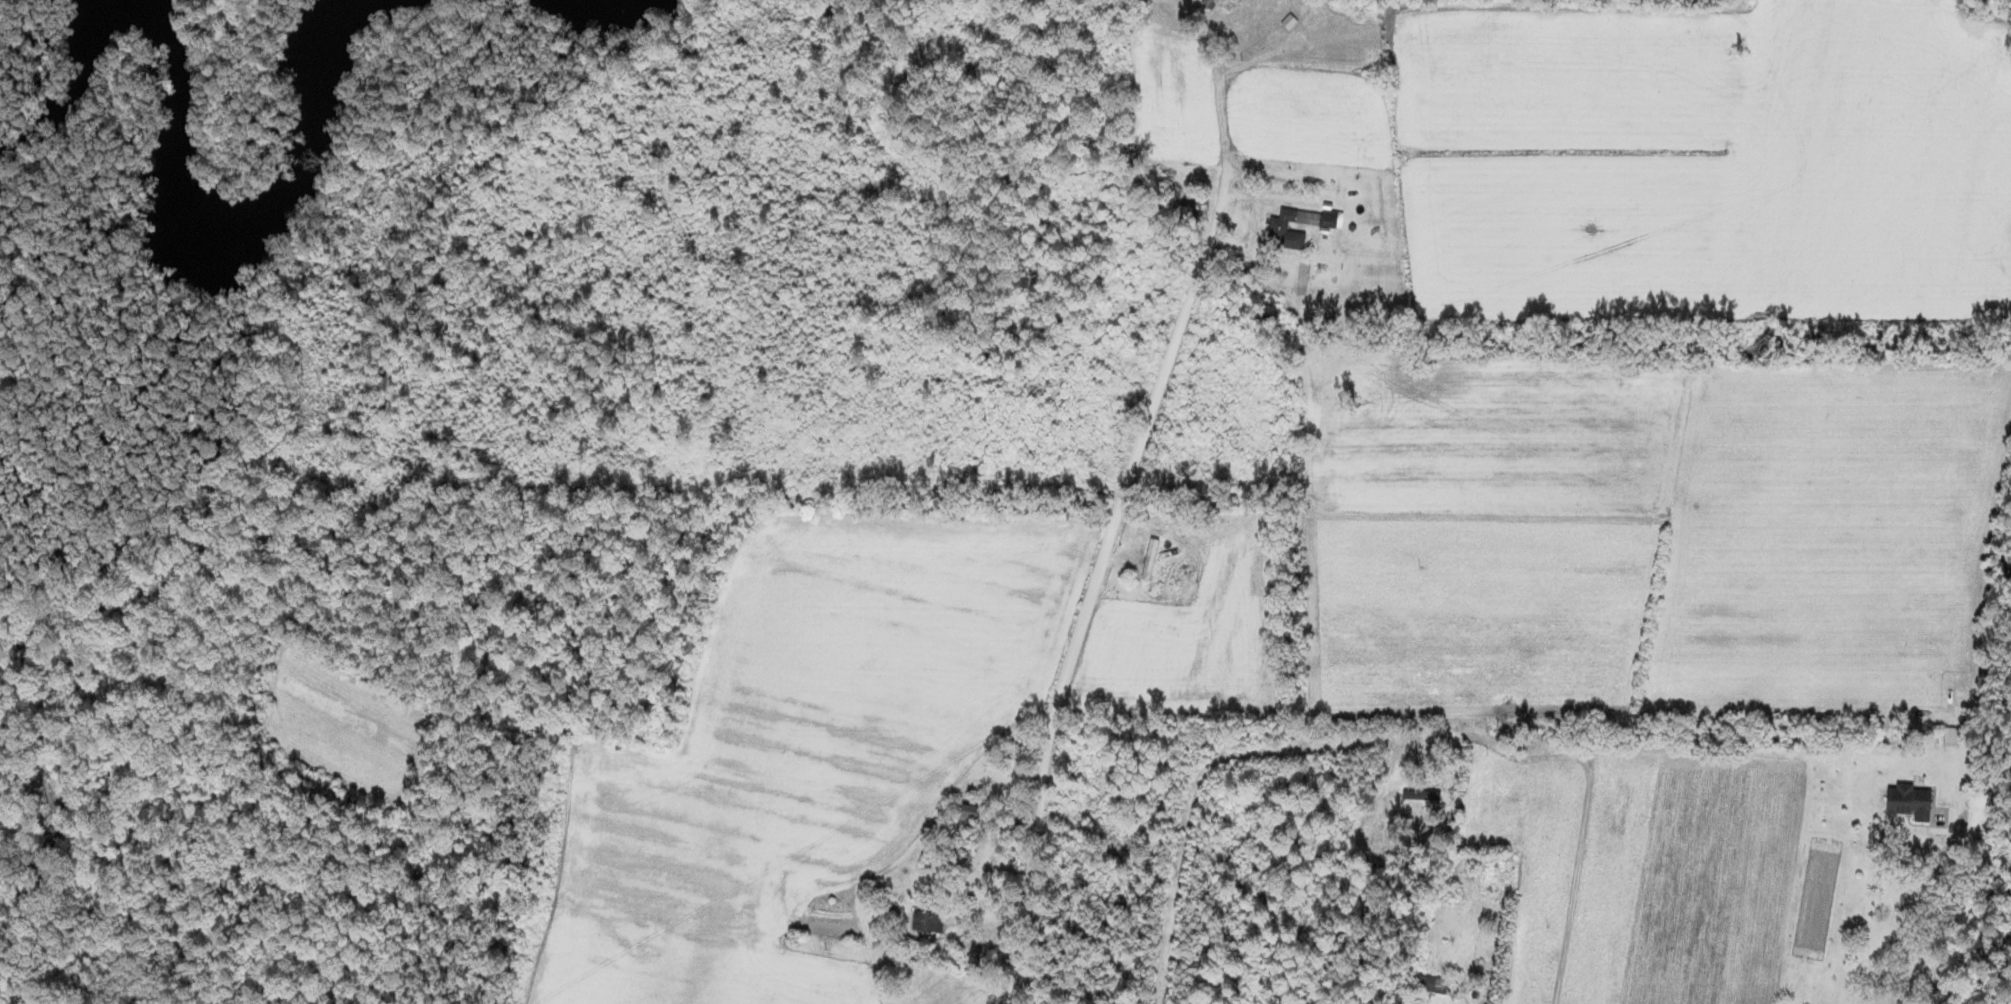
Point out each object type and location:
building: (1217, 5)
building: (1128, 10)
building: (1198, 205)
building: (1279, 228)
road: (1119, 502)
building: (1151, 562)
building: (969, 816)
building: (928, 922)
building: (1433, 985)

